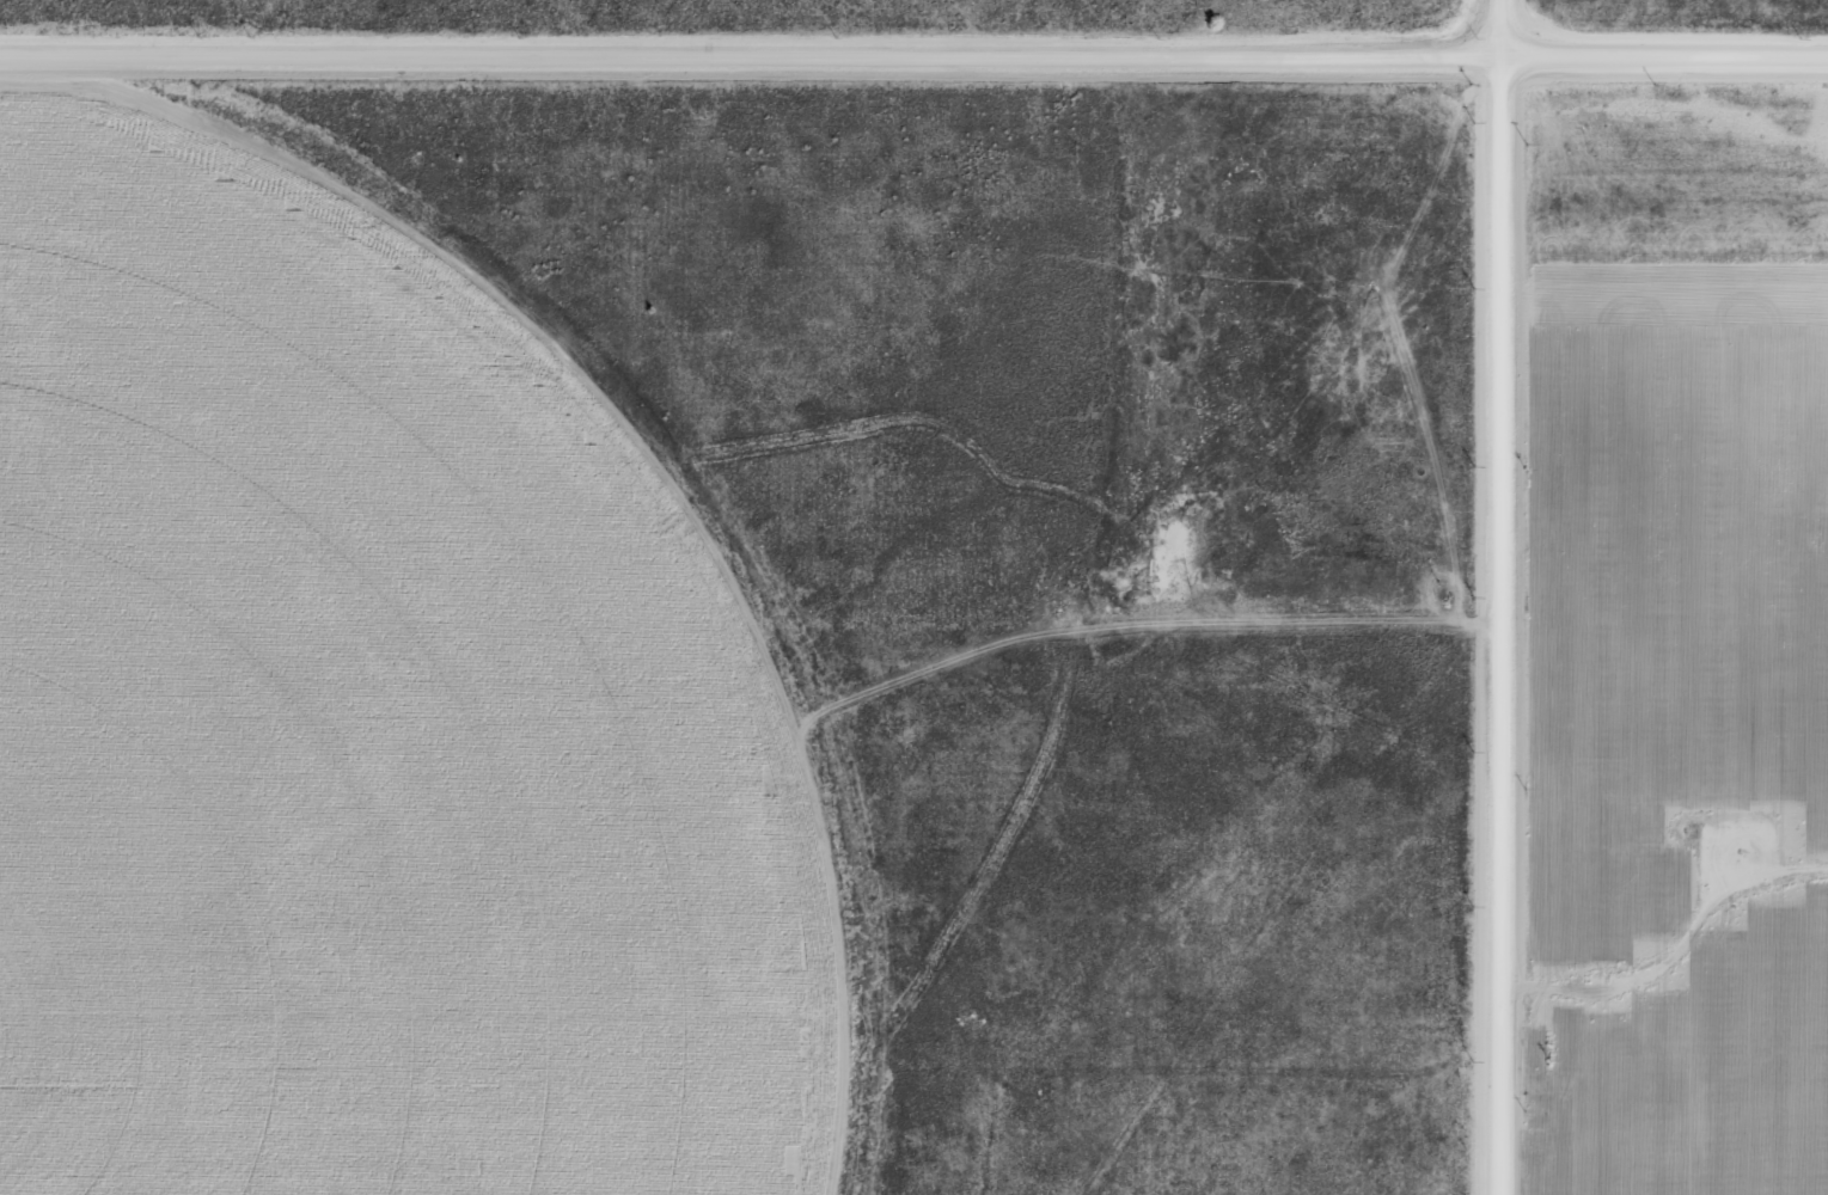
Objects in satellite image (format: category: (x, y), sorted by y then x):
road: (913, 23)
road: (1512, 596)
road: (181, 611)

